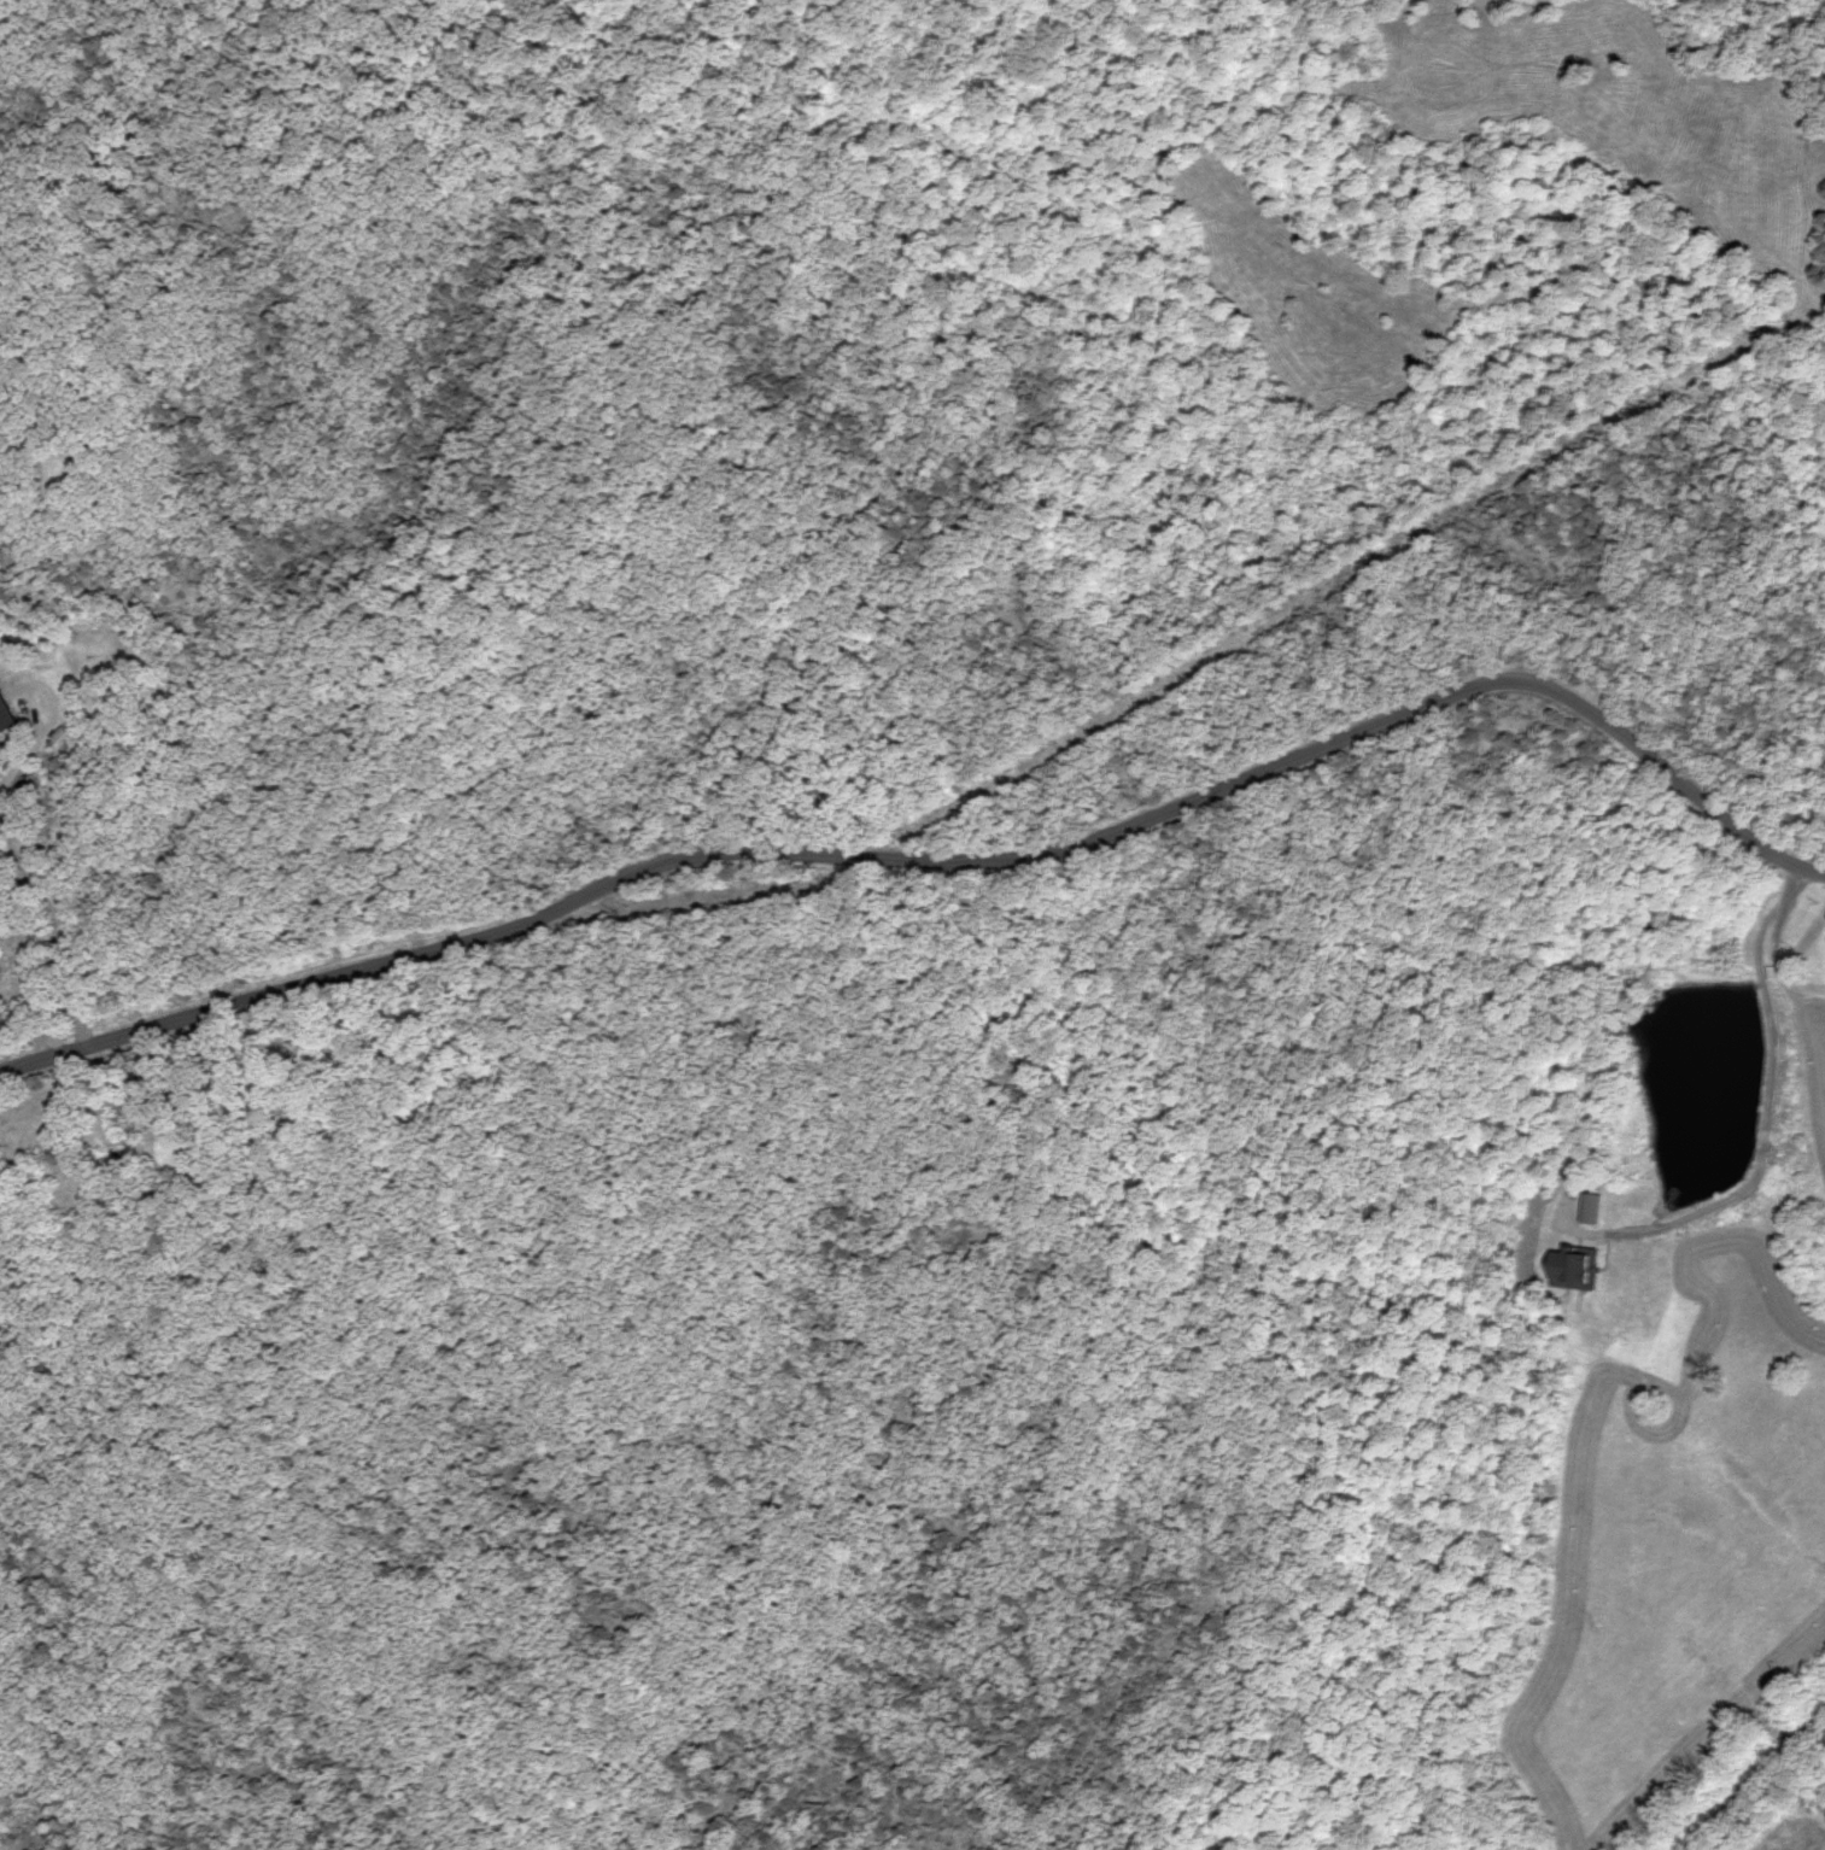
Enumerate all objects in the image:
road: (33, 678)
building: (5, 714)
road: (17, 751)
road: (922, 818)
road: (54, 942)
building: (1592, 1210)
building: (1577, 1270)

